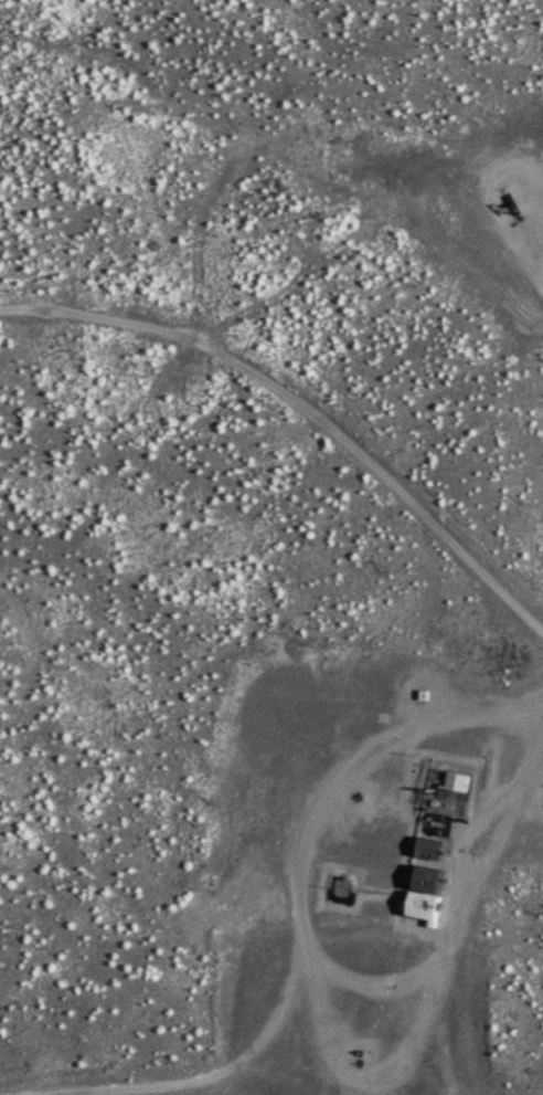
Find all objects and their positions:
petroleum well: (509, 200)
road: (539, 263)
road: (304, 406)
building: (454, 782)
building: (426, 849)
building: (424, 881)
road: (306, 888)

